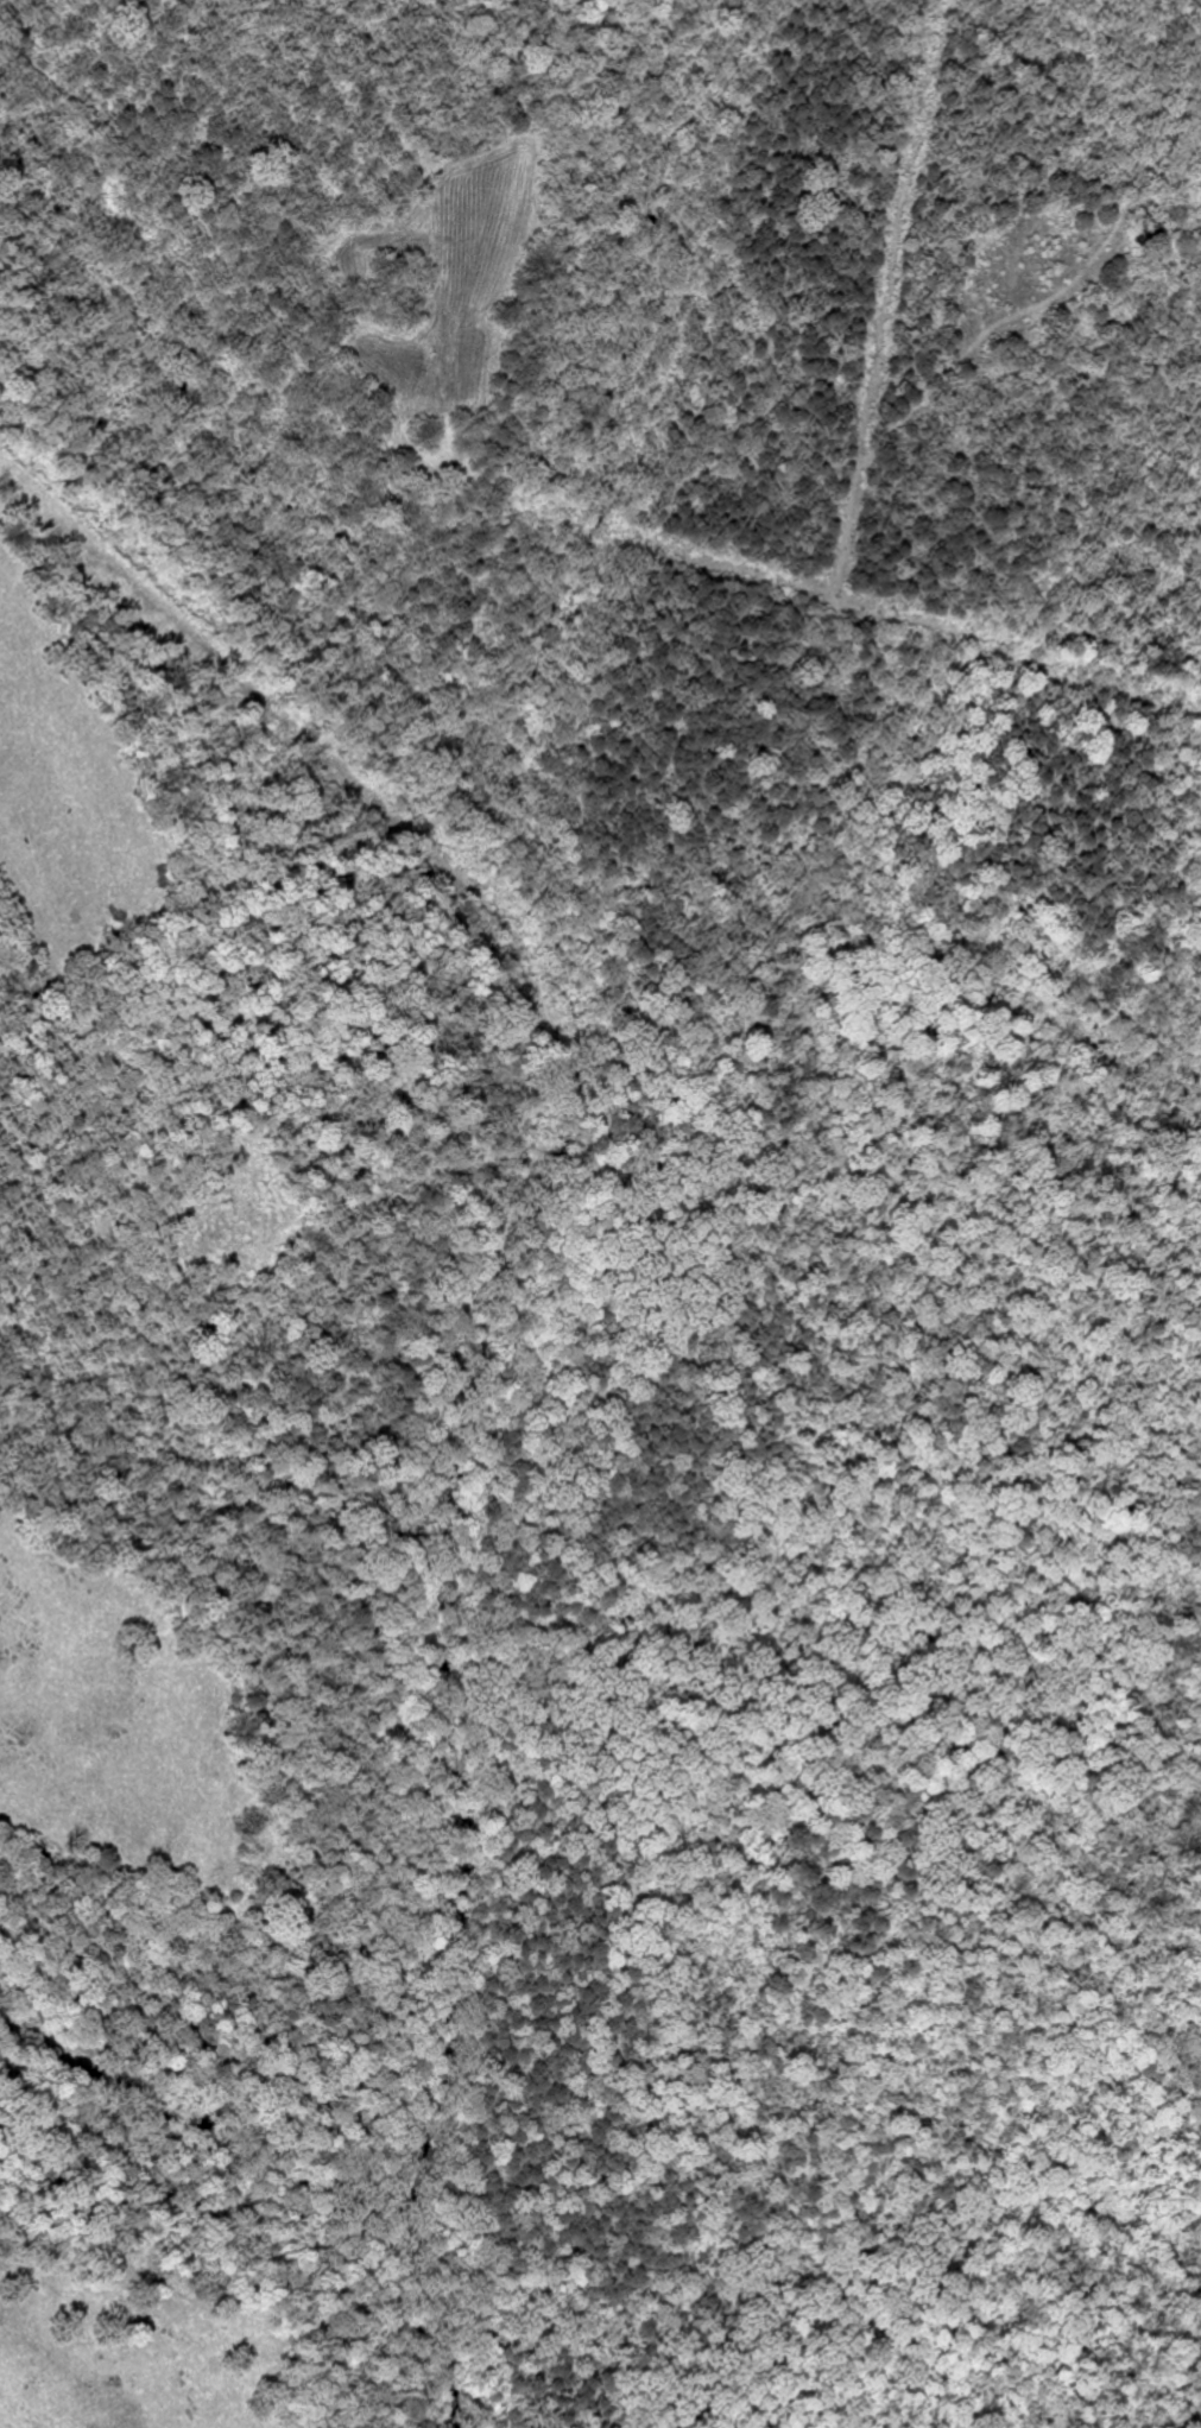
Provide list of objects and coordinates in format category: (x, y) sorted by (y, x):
road: (200, 246)

